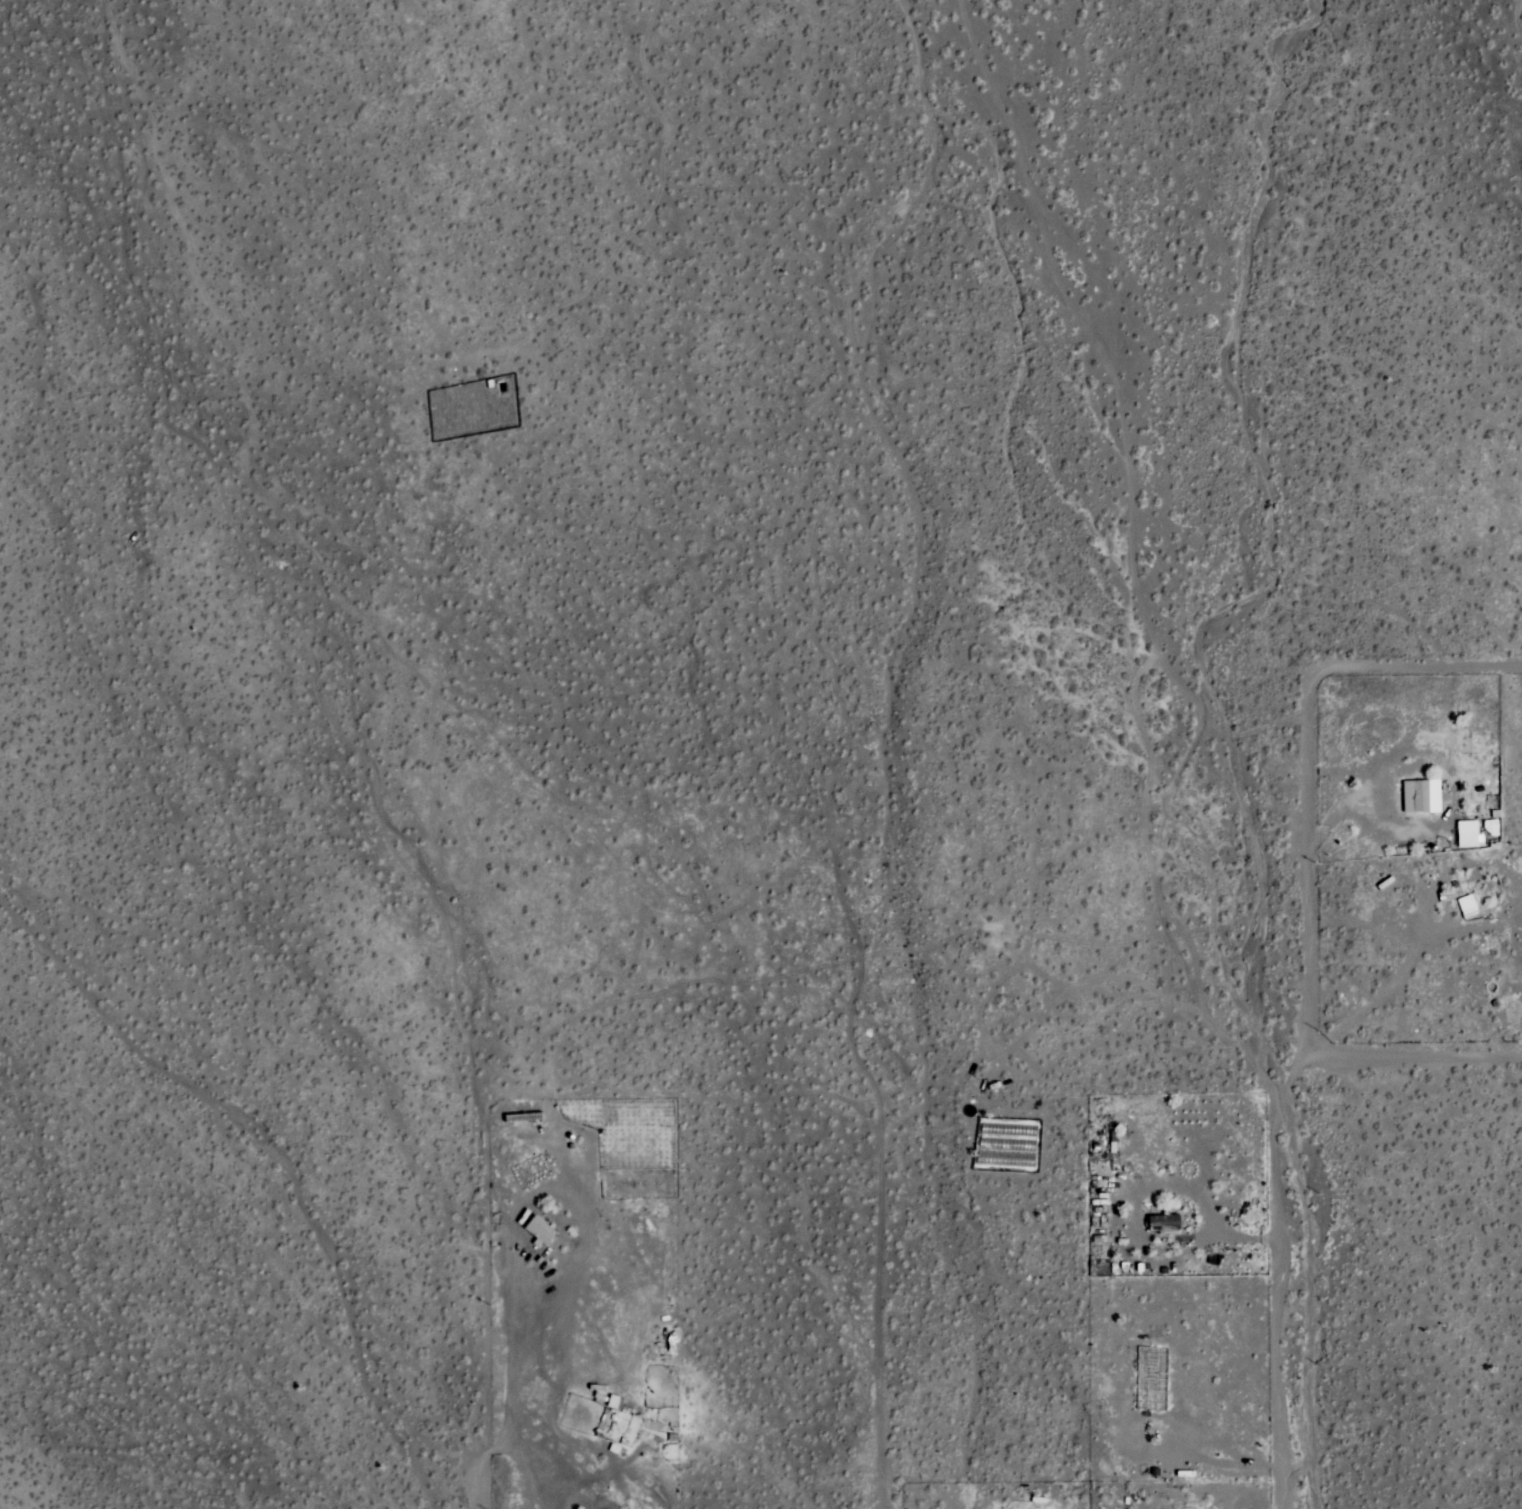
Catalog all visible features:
road: (1405, 965)
road: (1409, 1052)
road: (1284, 1087)
building: (1160, 1221)
building: (535, 1230)

